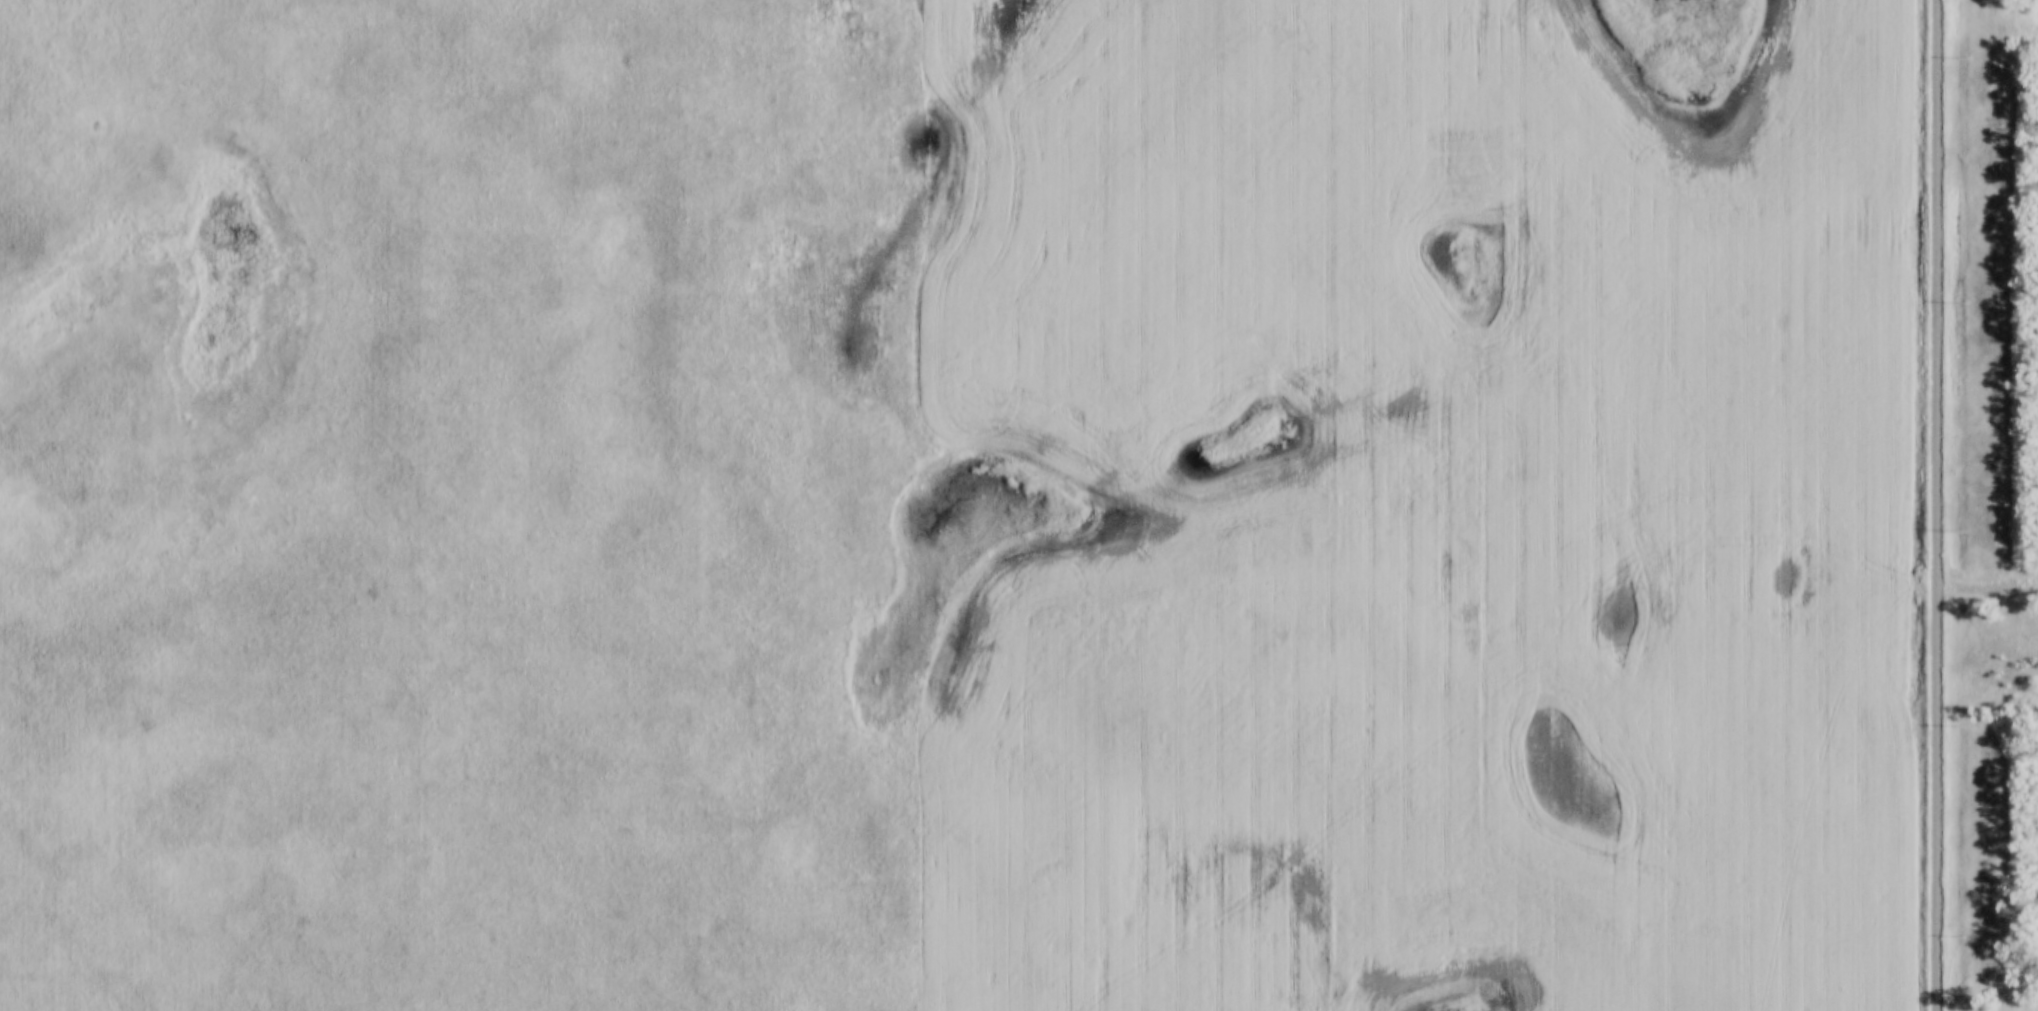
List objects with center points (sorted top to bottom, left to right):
road: (1936, 505)
road: (1987, 590)

